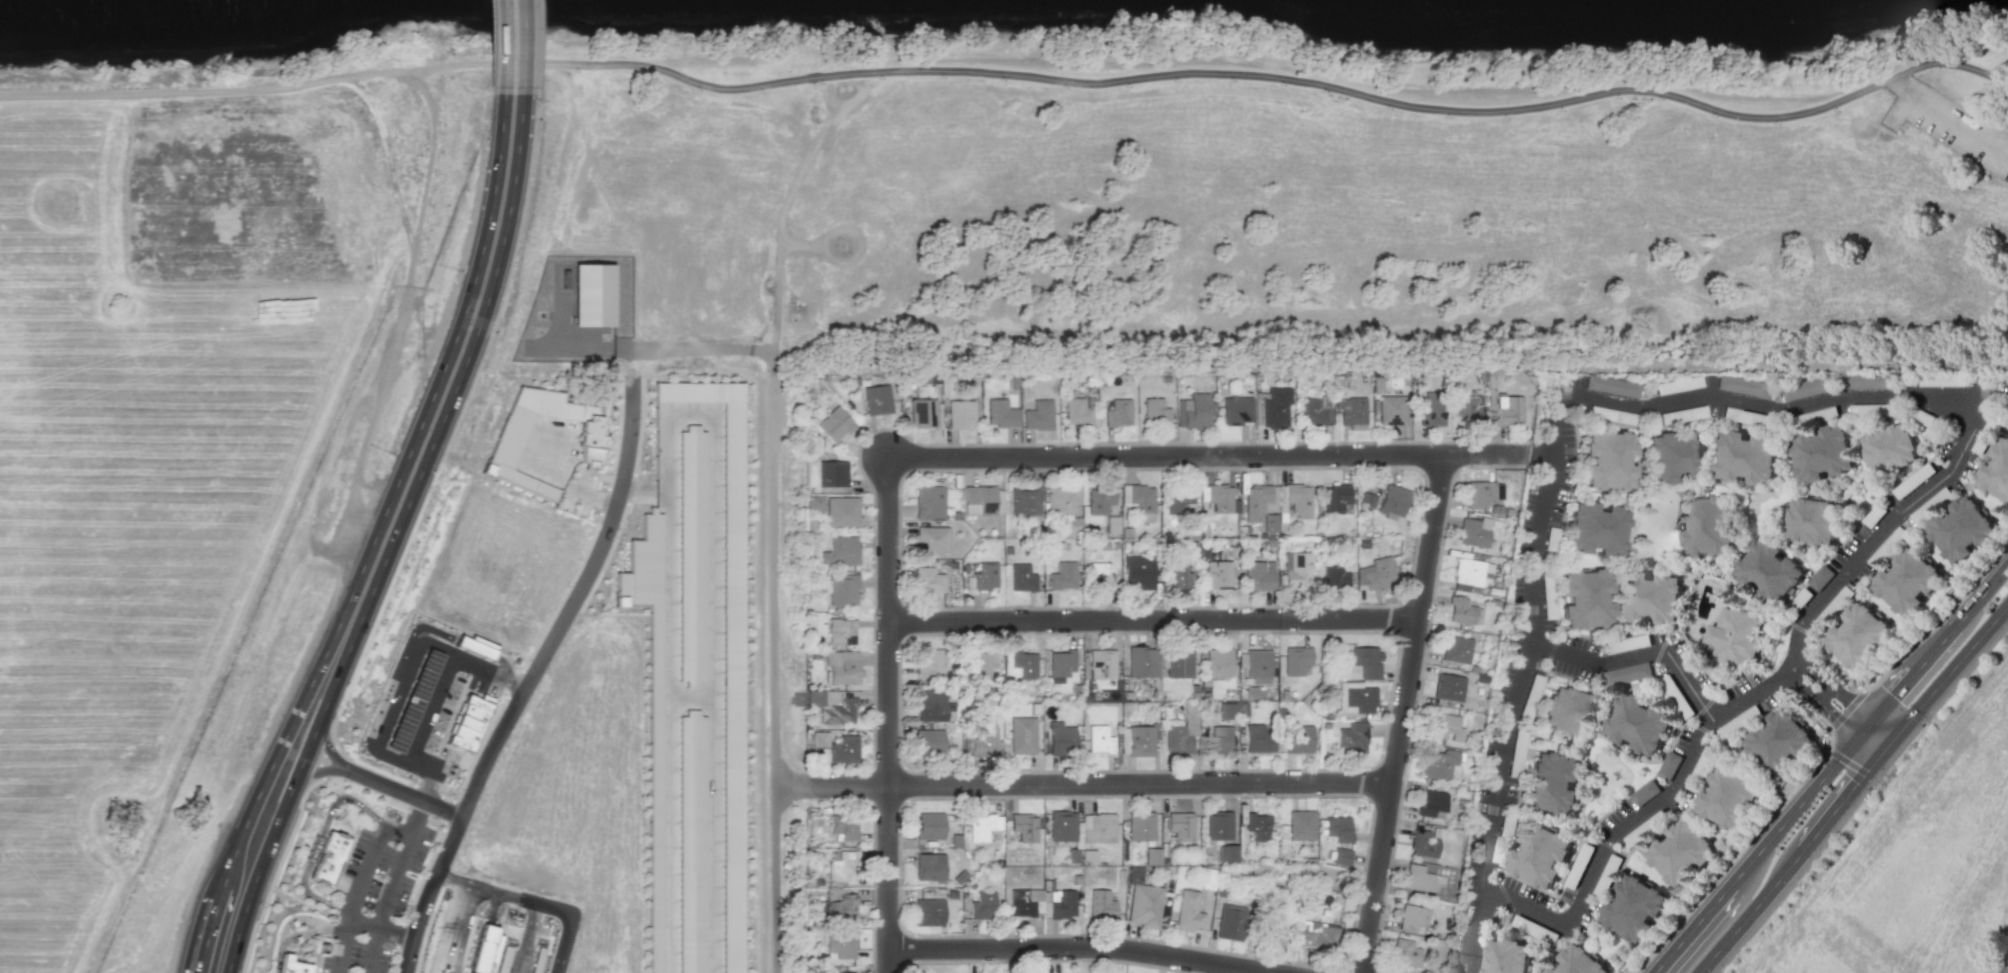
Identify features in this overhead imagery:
road: (512, 45)
road: (646, 60)
road: (789, 61)
road: (469, 62)
road: (852, 72)
road: (365, 74)
road: (1440, 89)
road: (171, 94)
road: (782, 104)
parking lot: (1961, 130)
road: (388, 157)
road: (428, 167)
road: (614, 207)
road: (779, 220)
road: (829, 233)
road: (801, 243)
building: (593, 292)
street lamp: (482, 366)
road: (732, 369)
building: (1940, 378)
building: (1867, 379)
building: (1679, 383)
building: (1612, 384)
building: (1745, 385)
building: (1809, 386)
road: (442, 398)
building: (877, 398)
building: (1276, 406)
building: (1237, 408)
building: (1317, 408)
building: (1392, 408)
building: (1431, 408)
building: (1469, 408)
building: (1509, 408)
building: (1872, 408)
building: (1078, 410)
building: (1156, 410)
building: (1194, 410)
building: (1354, 410)
building: (921, 411)
building: (1118, 411)
building: (960, 412)
building: (1001, 412)
building: (1611, 413)
building: (1683, 413)
street lamp: (645, 414)
building: (1038, 414)
building: (1746, 415)
building: (1813, 415)
building: (1921, 415)
road: (1970, 415)
building: (835, 424)
building: (1986, 430)
building: (508, 439)
building: (1891, 446)
building: (1823, 450)
road: (1540, 454)
building: (1675, 454)
road: (1209, 455)
building: (1748, 455)
building: (1607, 458)
building: (1996, 469)
street lamp: (1082, 471)
building: (832, 472)
street lamp: (438, 474)
building: (1913, 479)
road: (638, 489)
building: (1479, 492)
road: (589, 494)
building: (1219, 496)
building: (1336, 496)
building: (980, 497)
building: (1141, 497)
building: (1025, 498)
building: (1060, 498)
building: (1179, 498)
building: (1299, 498)
building: (1367, 498)
building: (1101, 499)
building: (1393, 499)
building: (1260, 500)
building: (814, 501)
building: (928, 501)
building: (1929, 503)
building: (841, 510)
building: (1874, 514)
building: (1815, 519)
building: (1270, 521)
building: (1710, 523)
building: (1074, 524)
building: (1112, 524)
building: (1595, 527)
building: (1959, 527)
building: (1471, 532)
road: (773, 536)
building: (931, 538)
building: (1551, 538)
street lamp: (616, 543)
building: (1885, 546)
building: (839, 550)
building: (692, 554)
building: (1298, 570)
building: (1468, 570)
building: (1771, 570)
building: (1138, 572)
building: (1379, 572)
building: (1218, 573)
building: (1335, 574)
building: (984, 575)
building: (1063, 575)
building: (1022, 576)
building: (1100, 576)
building: (1179, 576)
building: (1258, 576)
building: (1821, 576)
building: (927, 579)
building: (1905, 579)
street lamp: (394, 581)
street lamp: (566, 584)
building: (841, 588)
building: (1547, 594)
road: (1981, 594)
building: (1653, 596)
building: (1585, 597)
building: (1801, 597)
road: (571, 604)
building: (1833, 605)
building: (1460, 609)
road: (1153, 619)
road: (1797, 626)
road: (421, 627)
building: (840, 630)
building: (1857, 635)
street lamp: (1081, 636)
building: (1735, 636)
building: (1627, 643)
building: (476, 645)
building: (728, 646)
building: (1456, 648)
street lamp: (561, 649)
road: (1552, 649)
road: (1659, 650)
building: (1297, 659)
building: (929, 660)
building: (1367, 660)
building: (1142, 661)
building: (1219, 661)
building: (1061, 662)
building: (1102, 662)
building: (1180, 662)
building: (1024, 663)
road: (409, 664)
building: (981, 664)
building: (1258, 664)
road: (1524, 664)
road: (507, 665)
building: (842, 666)
road: (1948, 670)
road: (489, 673)
building: (1627, 673)
road: (1913, 673)
building: (1448, 687)
road: (1833, 687)
building: (1678, 695)
building: (1530, 696)
building: (814, 697)
building: (1361, 697)
building: (650, 699)
gas station: (412, 700)
building: (929, 704)
road: (1821, 704)
road: (1704, 705)
building: (1228, 709)
building: (1567, 710)
building: (838, 711)
road: (1402, 713)
road: (887, 715)
building: (1739, 721)
traffic signals: (1871, 721)
building: (469, 722)
building: (1640, 723)
building: (1446, 726)
road: (1703, 729)
road: (1864, 729)
road: (1880, 730)
building: (1182, 732)
road: (325, 733)
road: (301, 734)
building: (1353, 737)
building: (818, 738)
building: (1258, 738)
building: (1299, 738)
traffic signals: (1857, 738)
building: (1021, 739)
building: (1100, 739)
traffic signals: (1890, 739)
building: (1062, 740)
building: (1141, 740)
building: (1219, 740)
building: (1780, 740)
building: (928, 741)
building: (984, 742)
road: (1866, 746)
road: (1883, 747)
building: (843, 749)
street lamp: (505, 751)
building: (1516, 752)
traffic signals: (1876, 755)
building: (1439, 763)
building: (1670, 765)
building: (1701, 768)
road: (314, 771)
road: (1681, 774)
road: (1083, 782)
building: (1554, 782)
street lamp: (1782, 785)
building: (1645, 792)
building: (1730, 796)
building: (1431, 802)
road: (1838, 802)
road: (416, 818)
building: (1301, 824)
building: (929, 825)
building: (1062, 825)
building: (1140, 825)
building: (1181, 825)
building: (1219, 825)
building: (842, 826)
building: (983, 826)
building: (1024, 826)
building: (1258, 826)
building: (1645, 827)
building: (1099, 828)
building: (1338, 828)
road: (397, 830)
road: (452, 836)
building: (1502, 838)
road: (318, 839)
building: (956, 840)
building: (693, 842)
building: (1422, 843)
road: (1605, 843)
building: (1681, 852)
building: (1227, 853)
building: (1341, 855)
building: (1540, 855)
road: (1754, 855)
building: (1152, 856)
building: (1088, 857)
building: (328, 858)
building: (840, 865)
building: (1579, 865)
building: (929, 866)
crop: (1912, 866)
road: (366, 868)
road: (243, 874)
street lamp: (447, 874)
building: (960, 876)
building: (1606, 877)
building: (1417, 878)
building: (1207, 879)
road: (872, 887)
road: (529, 901)
road: (383, 903)
building: (1021, 903)
building: (1101, 904)
building: (982, 905)
building: (1062, 905)
building: (1144, 905)
building: (841, 907)
building: (1634, 908)
road: (1747, 910)
building: (1188, 911)
building: (928, 912)
road: (299, 917)
building: (1411, 917)
building: (1231, 922)
road: (374, 927)
building: (1273, 928)
road: (444, 929)
building: (1535, 929)
road: (295, 935)
road: (525, 938)
building: (1323, 939)
building: (840, 944)
road: (340, 946)
road: (1084, 948)
building: (483, 950)
building: (504, 952)
road: (1462, 952)
building: (1405, 953)
road: (1473, 953)
building: (1507, 957)
building: (1578, 962)
building: (291, 965)
road: (2005, 967)
road: (2006, 970)
building: (845, 972)
street lamp: (1631, 972)

